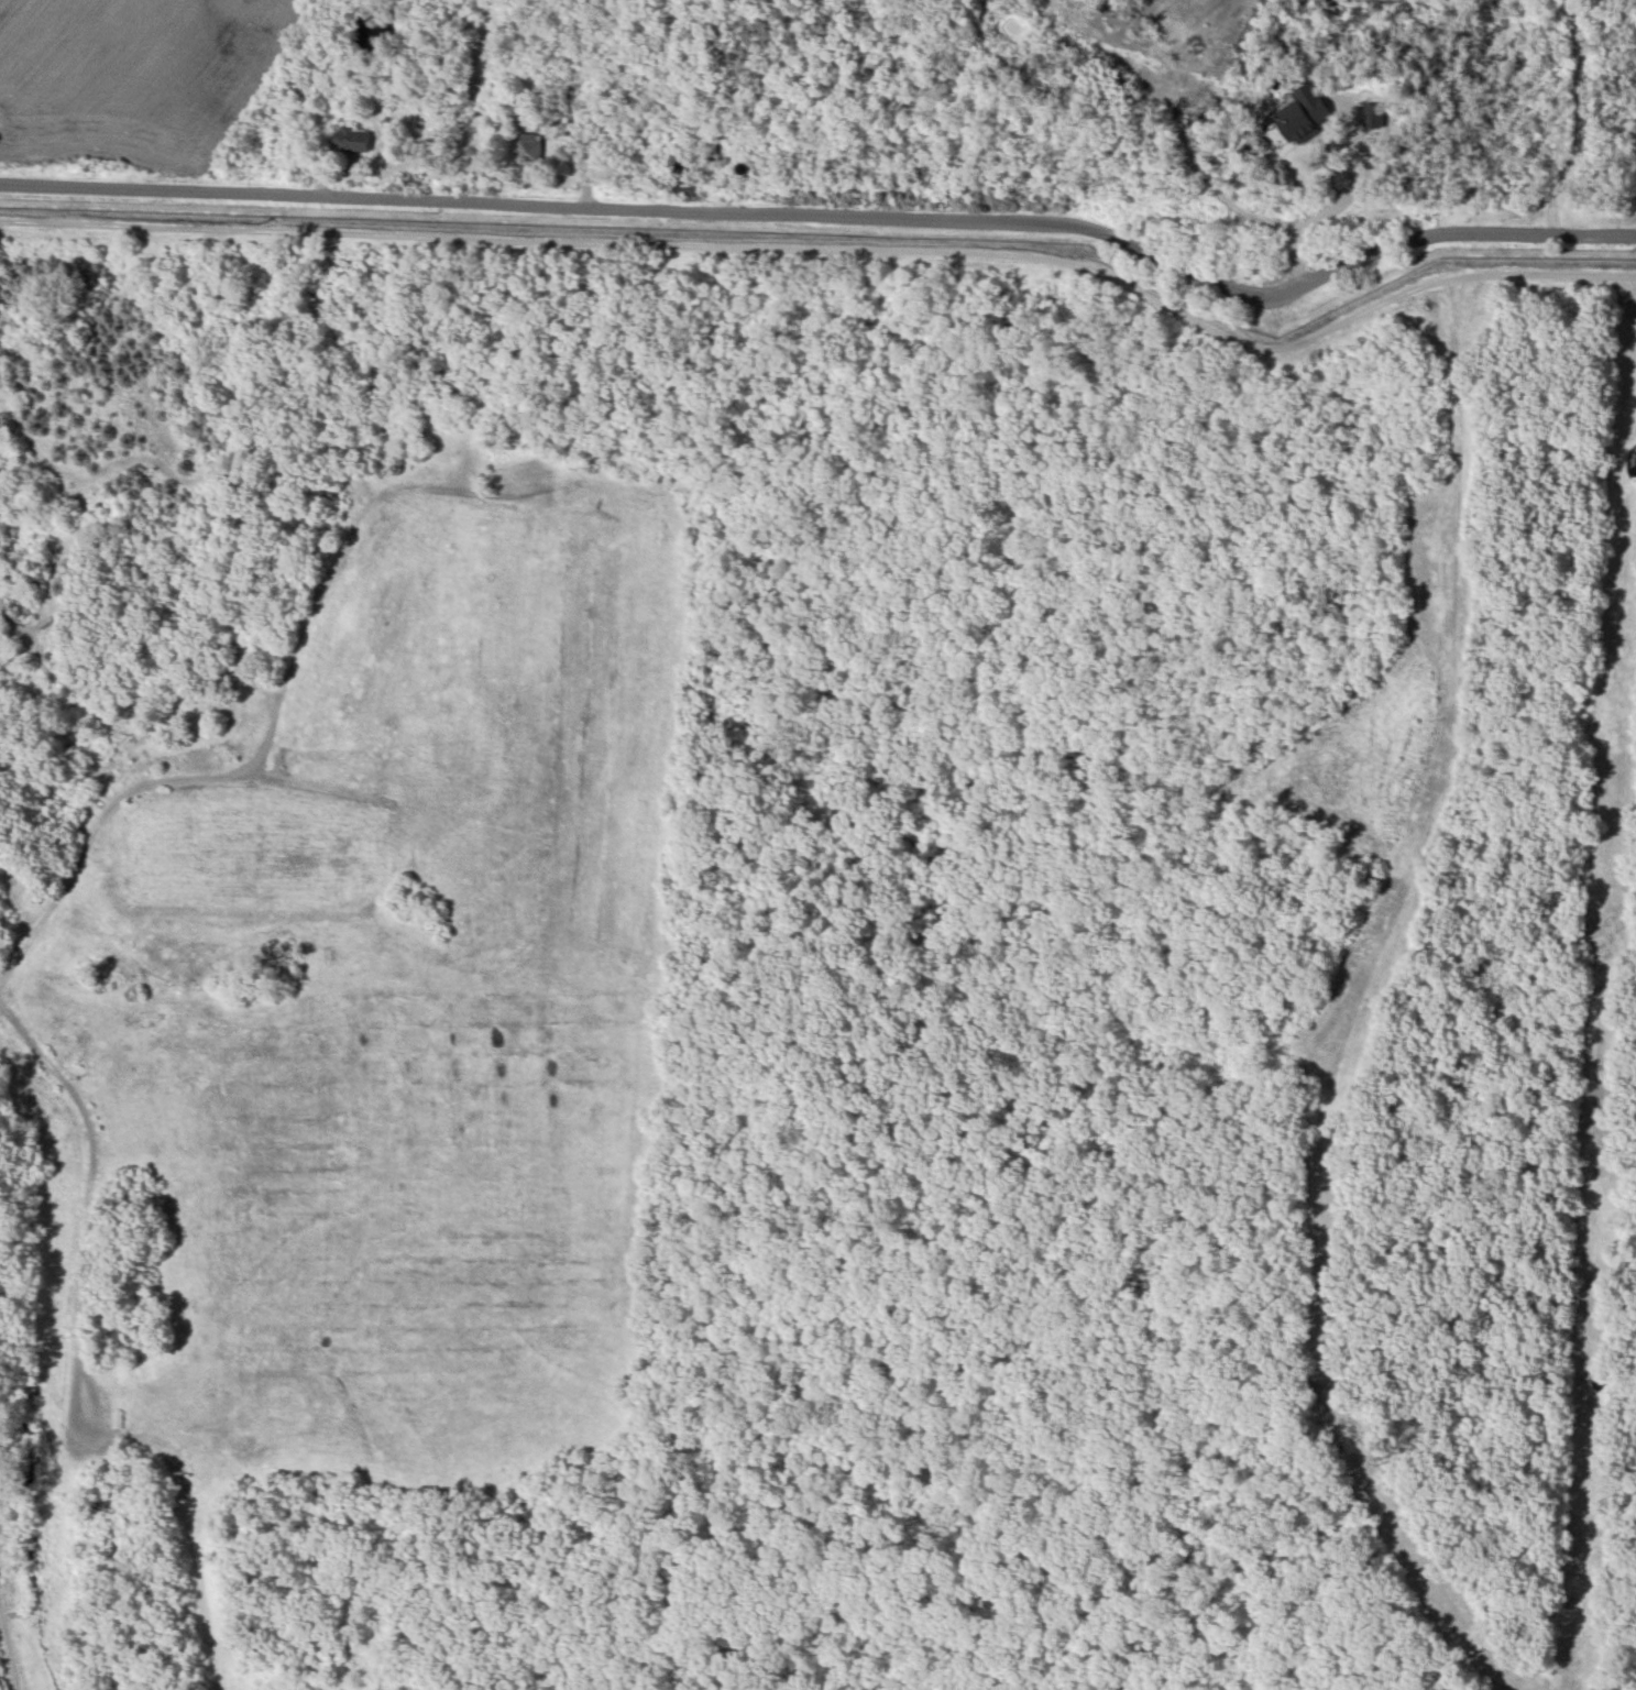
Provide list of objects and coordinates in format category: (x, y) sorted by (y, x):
crop: (132, 84)
building: (1304, 113)
building: (1372, 116)
road: (1573, 118)
building: (349, 140)
building: (529, 149)
road: (1344, 198)
road: (831, 210)
road: (835, 249)
road: (265, 749)
road: (1601, 1028)
road: (89, 1190)
road: (9, 1649)

